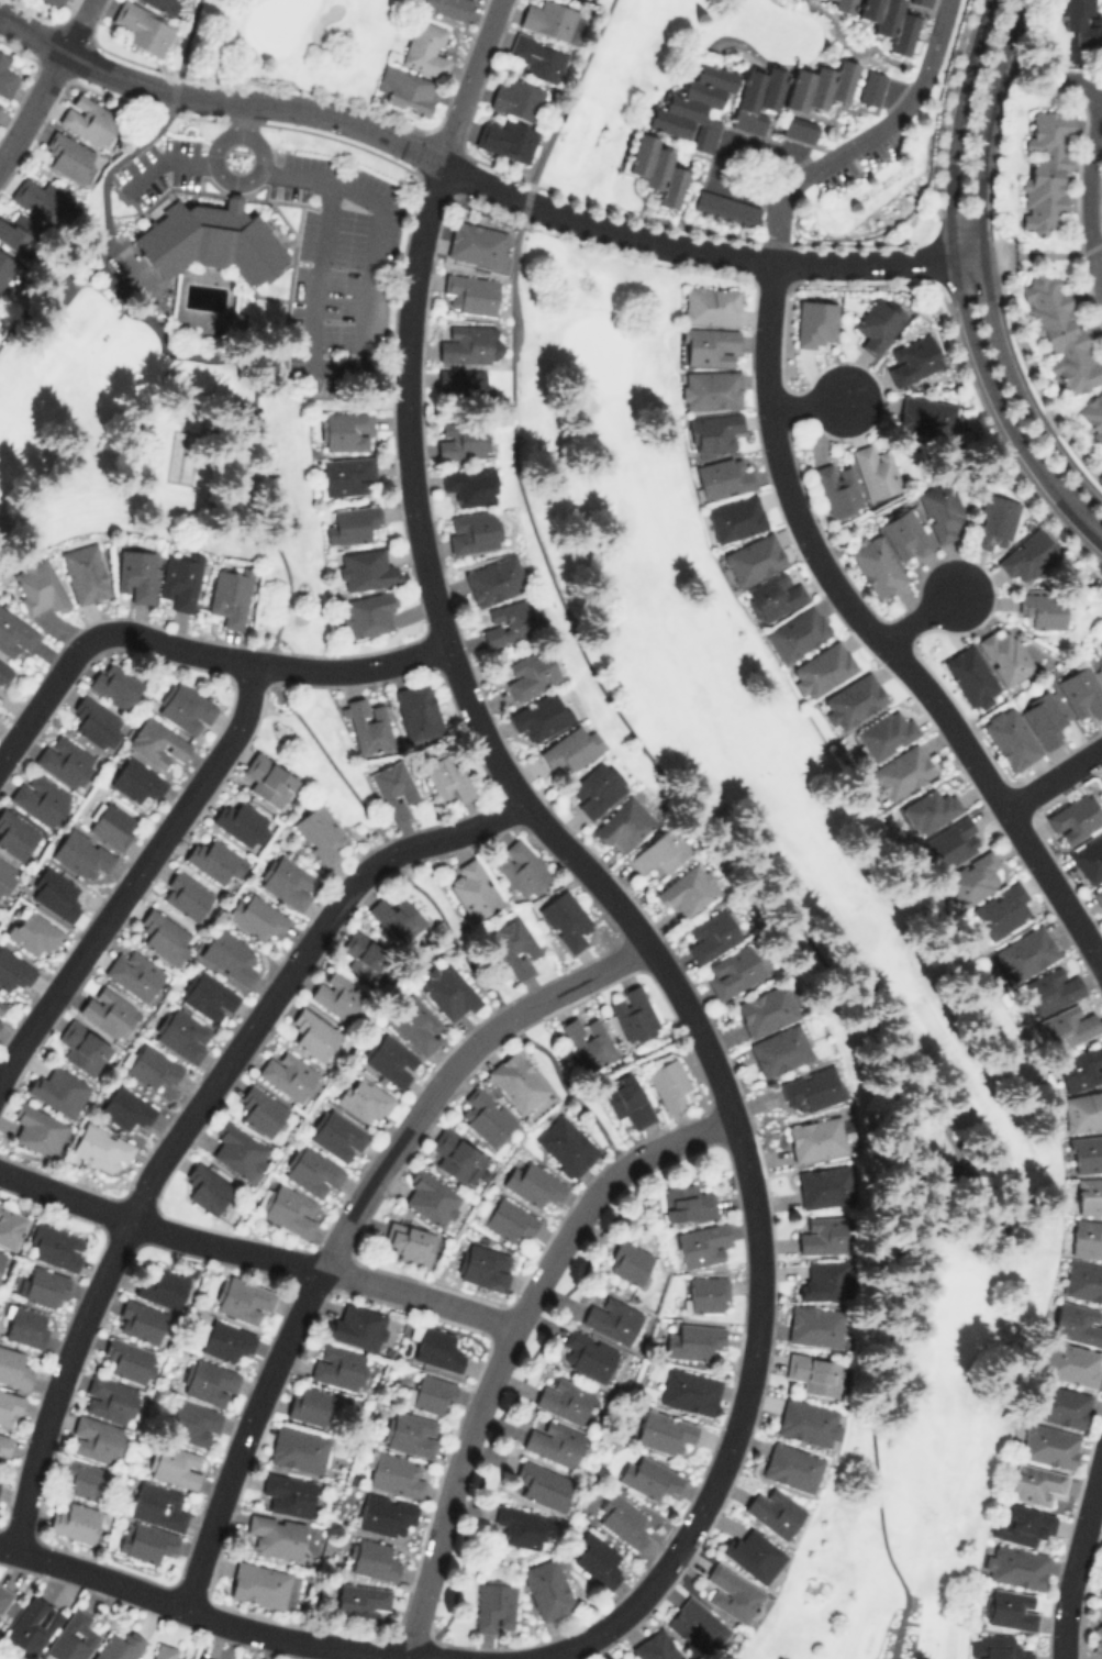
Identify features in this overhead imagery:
building: (56, 1)
building: (920, 2)
building: (164, 4)
building: (843, 4)
building: (447, 7)
building: (552, 19)
building: (890, 22)
building: (1081, 23)
building: (143, 26)
park: (290, 42)
building: (424, 48)
building: (537, 56)
building: (5, 76)
road: (48, 81)
building: (821, 85)
park: (617, 86)
building: (870, 86)
building: (405, 88)
building: (517, 98)
building: (757, 98)
building: (694, 106)
road: (243, 114)
building: (88, 119)
building: (799, 128)
road: (241, 131)
road: (862, 137)
building: (507, 139)
road: (723, 146)
building: (70, 157)
road: (163, 162)
parking lot: (160, 167)
building: (656, 168)
building: (1046, 170)
road: (103, 179)
road: (481, 180)
road: (1087, 188)
building: (42, 200)
building: (726, 207)
building: (20, 233)
building: (210, 239)
building: (476, 243)
road: (1098, 262)
building: (5, 265)
road: (984, 268)
parking lot: (338, 269)
road: (959, 289)
building: (470, 292)
building: (709, 305)
building: (814, 322)
building: (878, 323)
building: (1060, 331)
road: (361, 332)
building: (469, 343)
building: (708, 345)
park: (202, 349)
building: (913, 360)
building: (460, 383)
building: (709, 389)
road: (805, 405)
building: (926, 417)
building: (1092, 417)
building: (345, 430)
building: (712, 431)
building: (461, 439)
building: (876, 471)
building: (346, 474)
building: (723, 477)
building: (469, 485)
road: (264, 489)
building: (837, 489)
building: (943, 510)
building: (735, 518)
building: (994, 520)
building: (354, 523)
building: (472, 531)
building: (905, 534)
building: (1028, 555)
building: (754, 557)
building: (876, 564)
building: (365, 569)
building: (85, 573)
building: (135, 574)
building: (494, 579)
building: (180, 580)
building: (38, 585)
building: (230, 596)
building: (773, 596)
building: (1045, 609)
building: (367, 612)
road: (919, 618)
building: (509, 622)
building: (795, 632)
building: (15, 633)
road: (876, 638)
building: (1005, 655)
road: (276, 665)
building: (823, 668)
building: (4, 672)
building: (531, 673)
building: (969, 676)
building: (114, 685)
road: (47, 689)
building: (1081, 690)
building: (851, 700)
building: (185, 708)
building: (418, 710)
building: (538, 716)
building: (1043, 718)
building: (96, 721)
building: (367, 723)
building: (887, 733)
building: (1010, 738)
building: (157, 742)
building: (570, 749)
building: (65, 760)
building: (902, 772)
building: (447, 777)
road: (1053, 778)
building: (268, 779)
building: (136, 782)
building: (392, 787)
building: (597, 787)
building: (40, 798)
building: (930, 809)
building: (1075, 817)
building: (242, 821)
building: (623, 825)
building: (112, 826)
building: (320, 833)
building: (15, 834)
building: (951, 842)
building: (659, 852)
building: (81, 853)
road: (727, 856)
building: (1088, 858)
building: (215, 859)
building: (521, 867)
road: (590, 872)
building: (7, 874)
road: (136, 874)
building: (972, 878)
building: (287, 881)
building: (474, 889)
building: (688, 889)
building: (54, 893)
building: (186, 895)
building: (1098, 895)
building: (1001, 910)
building: (256, 916)
building: (397, 917)
building: (565, 919)
building: (32, 931)
building: (711, 934)
building: (163, 936)
building: (514, 945)
building: (1027, 951)
building: (229, 954)
building: (365, 955)
park: (801, 958)
building: (13, 970)
building: (733, 971)
building: (134, 973)
building: (447, 989)
building: (1050, 989)
building: (337, 994)
building: (209, 996)
building: (2, 1006)
building: (766, 1009)
building: (108, 1010)
building: (632, 1013)
building: (415, 1024)
building: (1066, 1026)
building: (313, 1032)
building: (182, 1033)
building: (588, 1041)
building: (84, 1047)
building: (779, 1050)
building: (389, 1059)
building: (152, 1066)
building: (1080, 1068)
building: (287, 1074)
building: (516, 1080)
building: (667, 1083)
building: (811, 1088)
building: (59, 1090)
building: (625, 1098)
building: (364, 1099)
building: (125, 1107)
building: (1082, 1109)
building: (260, 1110)
road: (192, 1111)
building: (485, 1116)
building: (38, 1129)
building: (337, 1135)
building: (816, 1138)
building: (565, 1144)
building: (101, 1147)
building: (238, 1150)
building: (1086, 1153)
building: (455, 1154)
building: (312, 1170)
building: (534, 1183)
building: (826, 1185)
building: (207, 1187)
building: (431, 1197)
building: (683, 1202)
building: (291, 1210)
building: (507, 1218)
road: (347, 1219)
building: (11, 1226)
building: (823, 1234)
building: (1086, 1237)
building: (409, 1242)
building: (700, 1242)
building: (53, 1246)
road: (255, 1252)
building: (1, 1257)
building: (631, 1262)
building: (482, 1267)
building: (822, 1280)
building: (1082, 1280)
building: (43, 1285)
building: (163, 1287)
building: (705, 1294)
building: (242, 1297)
building: (611, 1318)
building: (140, 1320)
building: (1077, 1323)
building: (25, 1325)
building: (356, 1326)
building: (815, 1326)
building: (223, 1339)
building: (693, 1340)
road: (508, 1341)
building: (437, 1348)
building: (587, 1354)
building: (130, 1359)
building: (1069, 1362)
building: (338, 1365)
building: (13, 1367)
building: (814, 1373)
building: (209, 1382)
building: (689, 1391)
building: (431, 1394)
building: (110, 1400)
building: (565, 1400)
building: (310, 1403)
building: (1060, 1404)
building: (9, 1407)
building: (808, 1420)
building: (193, 1423)
building: (665, 1431)
building: (410, 1433)
building: (96, 1439)
building: (554, 1441)
building: (3, 1444)
building: (1049, 1445)
building: (299, 1449)
building: (175, 1464)
building: (791, 1467)
building: (394, 1473)
building: (649, 1476)
building: (82, 1479)
building: (1036, 1483)
building: (543, 1484)
building: (288, 1493)
building: (157, 1505)
building: (773, 1511)
building: (385, 1514)
building: (623, 1519)
building: (76, 1520)
building: (1025, 1524)
building: (521, 1526)
building: (276, 1535)
building: (145, 1541)
building: (752, 1553)
building: (371, 1558)
building: (597, 1559)
road: (1077, 1559)
building: (1014, 1564)
building: (264, 1585)
building: (547, 1589)
building: (1101, 1589)
building: (732, 1592)
building: (4, 1596)
building: (363, 1603)
building: (494, 1604)
building: (1011, 1608)
road: (201, 1611)
building: (33, 1624)
building: (697, 1626)
building: (73, 1636)
building: (1097, 1641)
building: (119, 1646)
building: (656, 1646)
building: (997, 1647)
building: (164, 1651)
park: (8, 1656)
road: (432, 1656)
building: (200, 1657)
building: (616, 1657)

